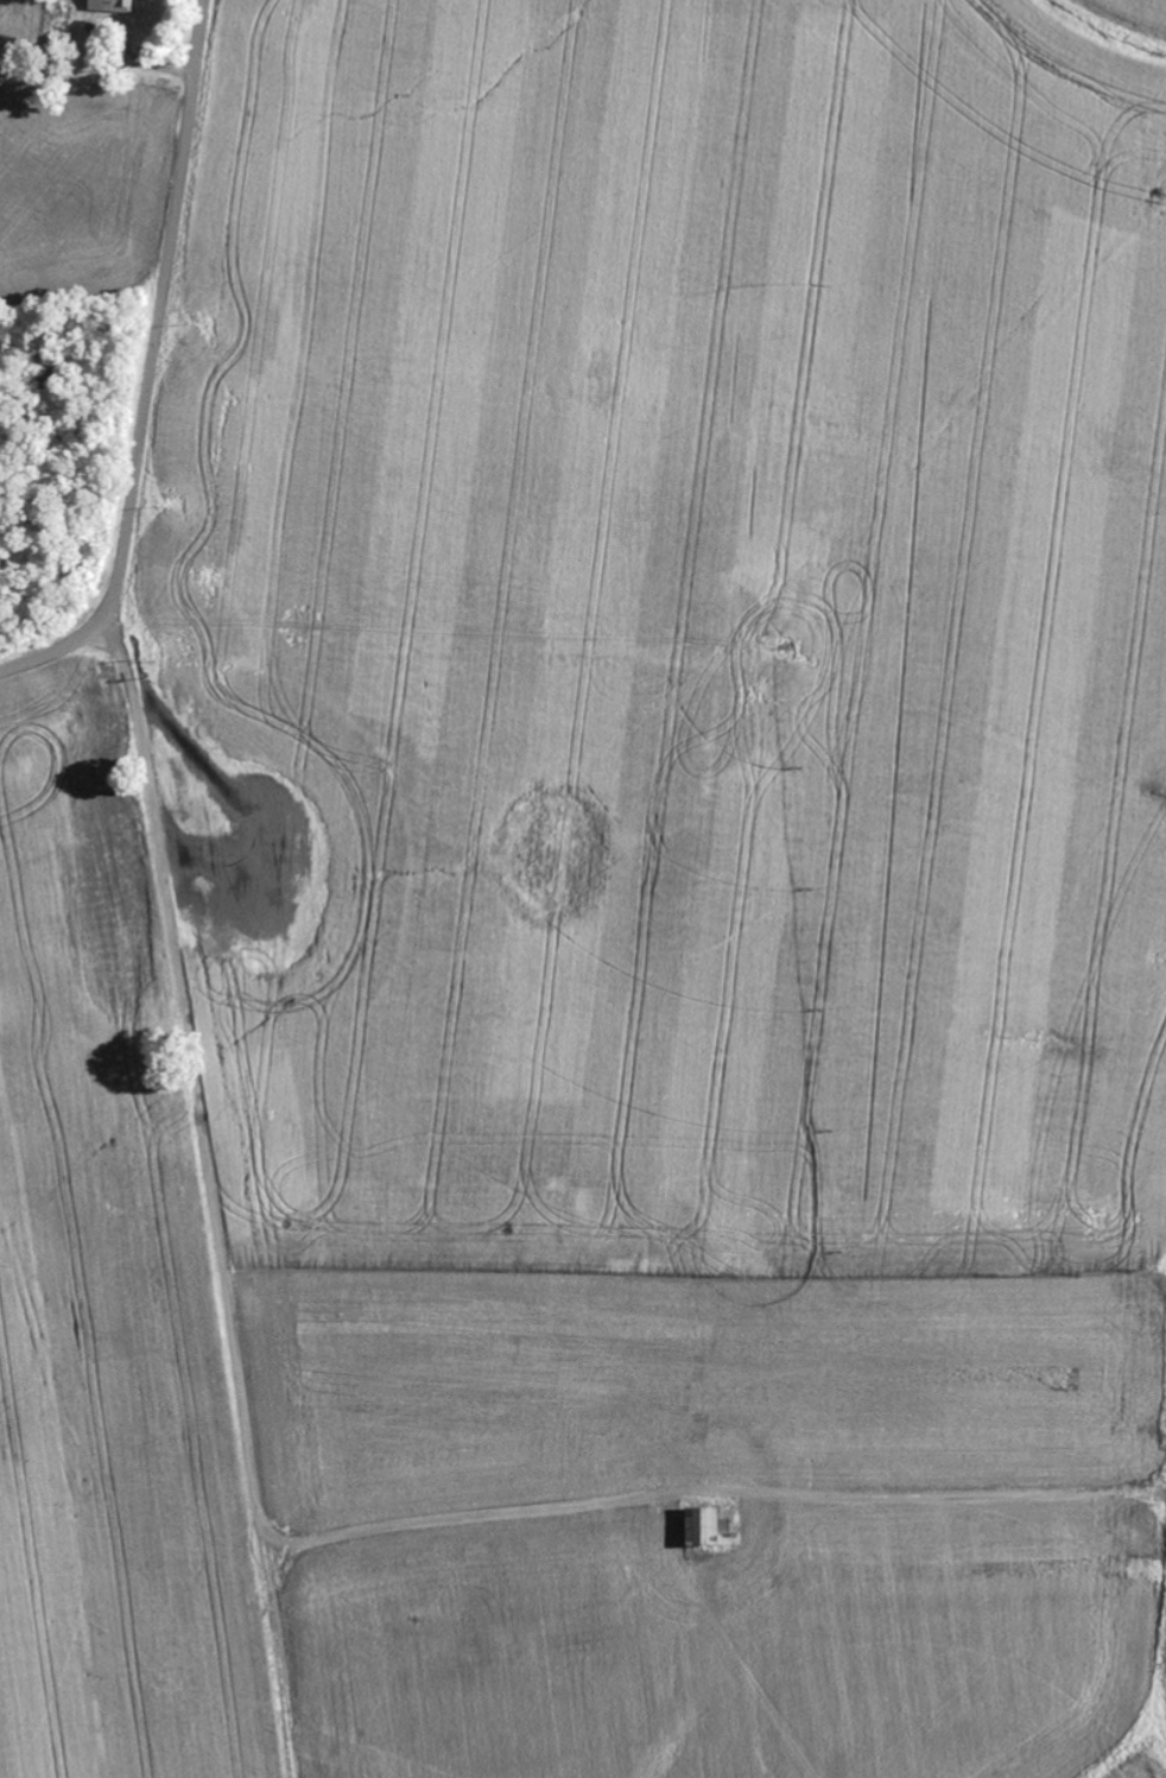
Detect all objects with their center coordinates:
building: (115, 6)
road: (154, 369)
road: (229, 1196)
building: (711, 1524)
road: (737, 1559)

